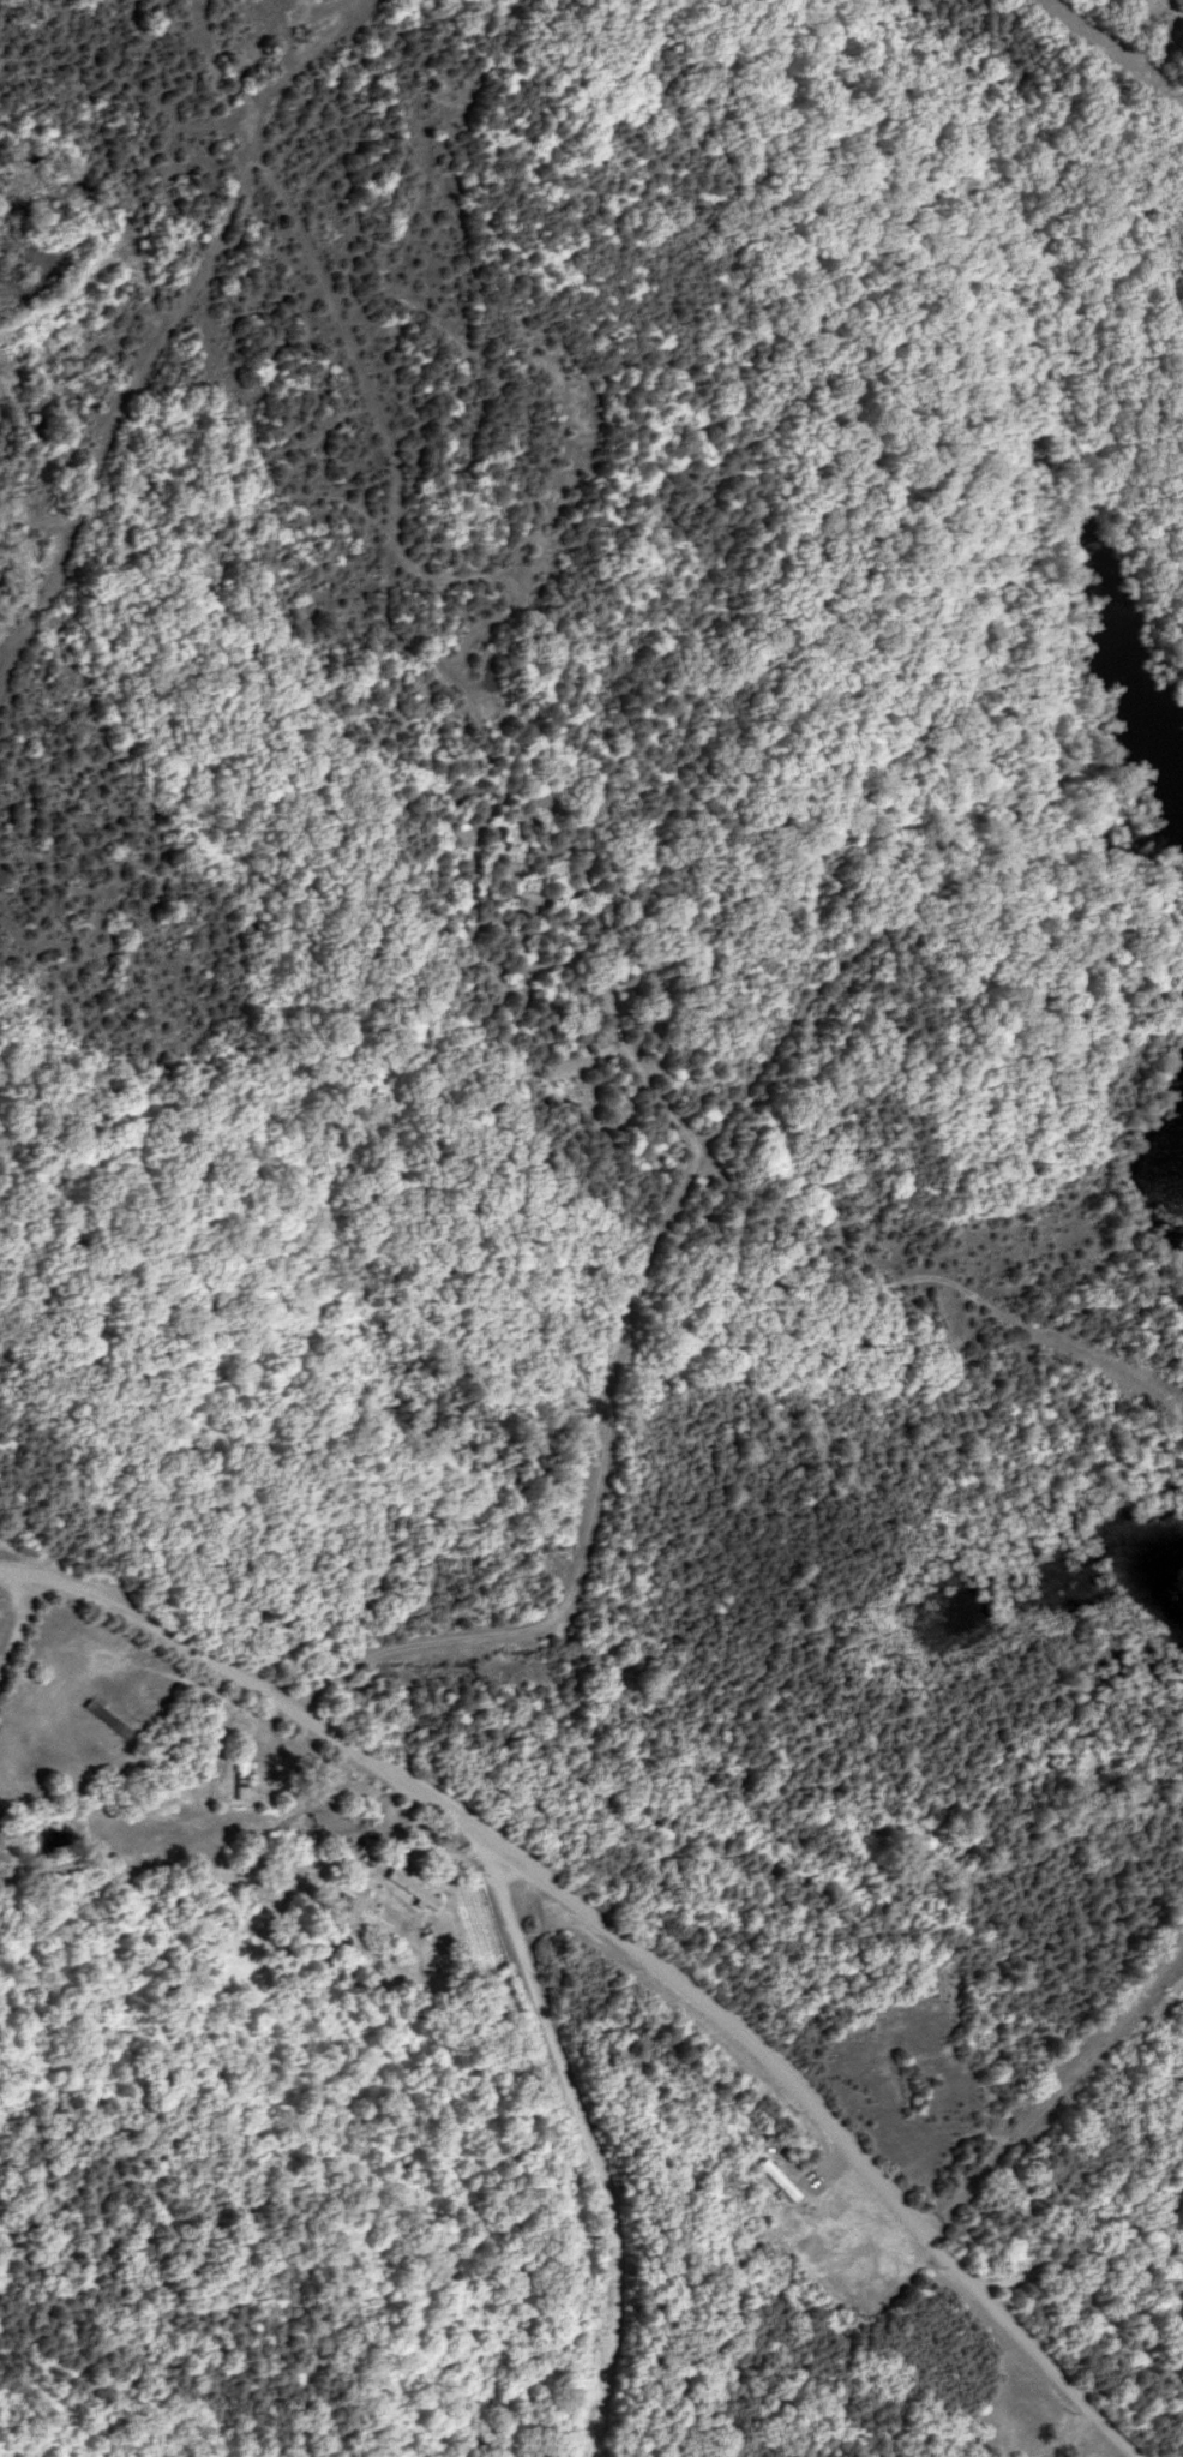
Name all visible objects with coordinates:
road: (19, 1626)
building: (109, 1719)
building: (240, 1774)
road: (494, 1877)
building: (413, 1889)
road: (829, 2121)
road: (1082, 2245)
road: (1071, 2437)

